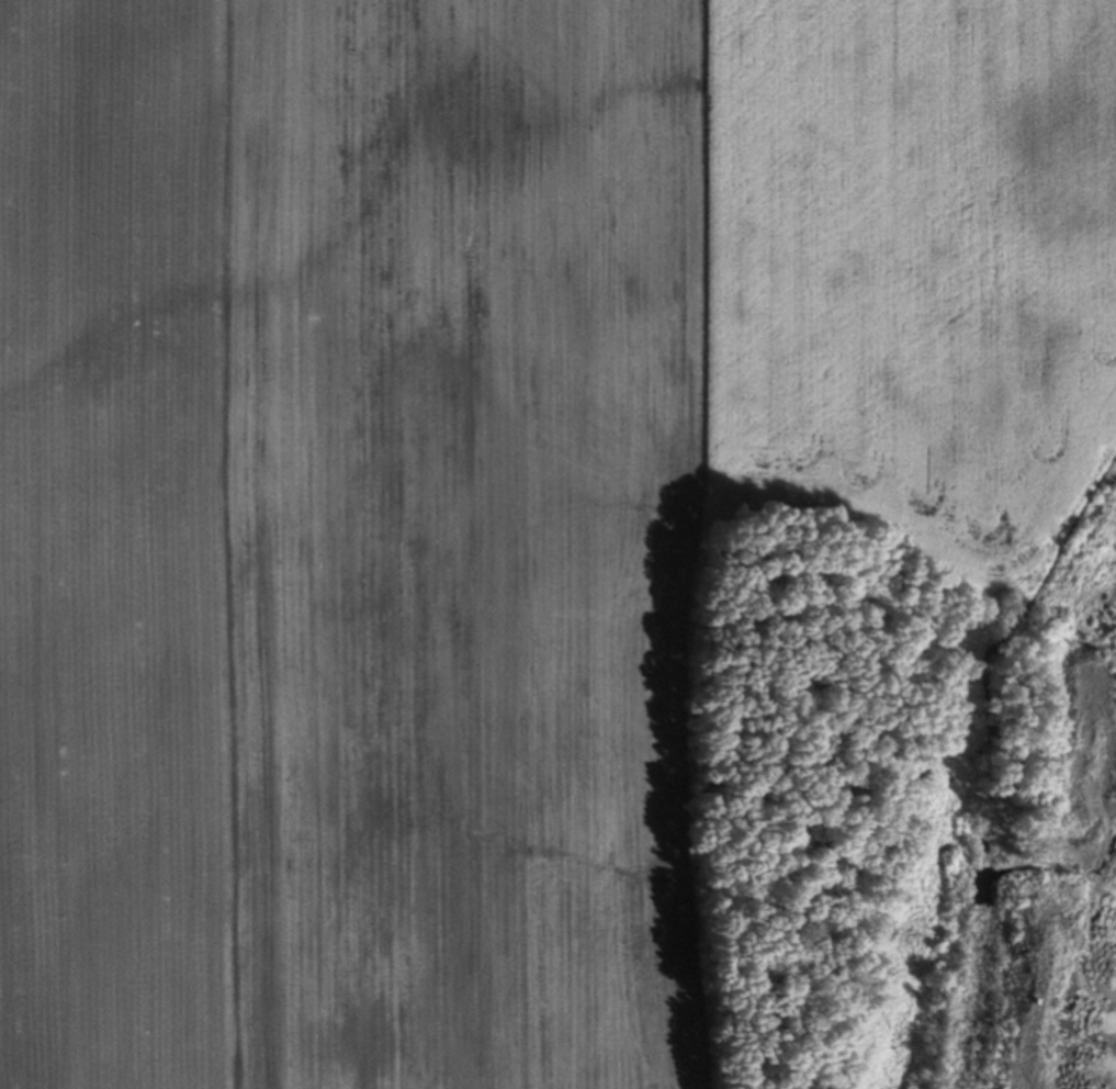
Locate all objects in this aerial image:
quarry: (1037, 839)

